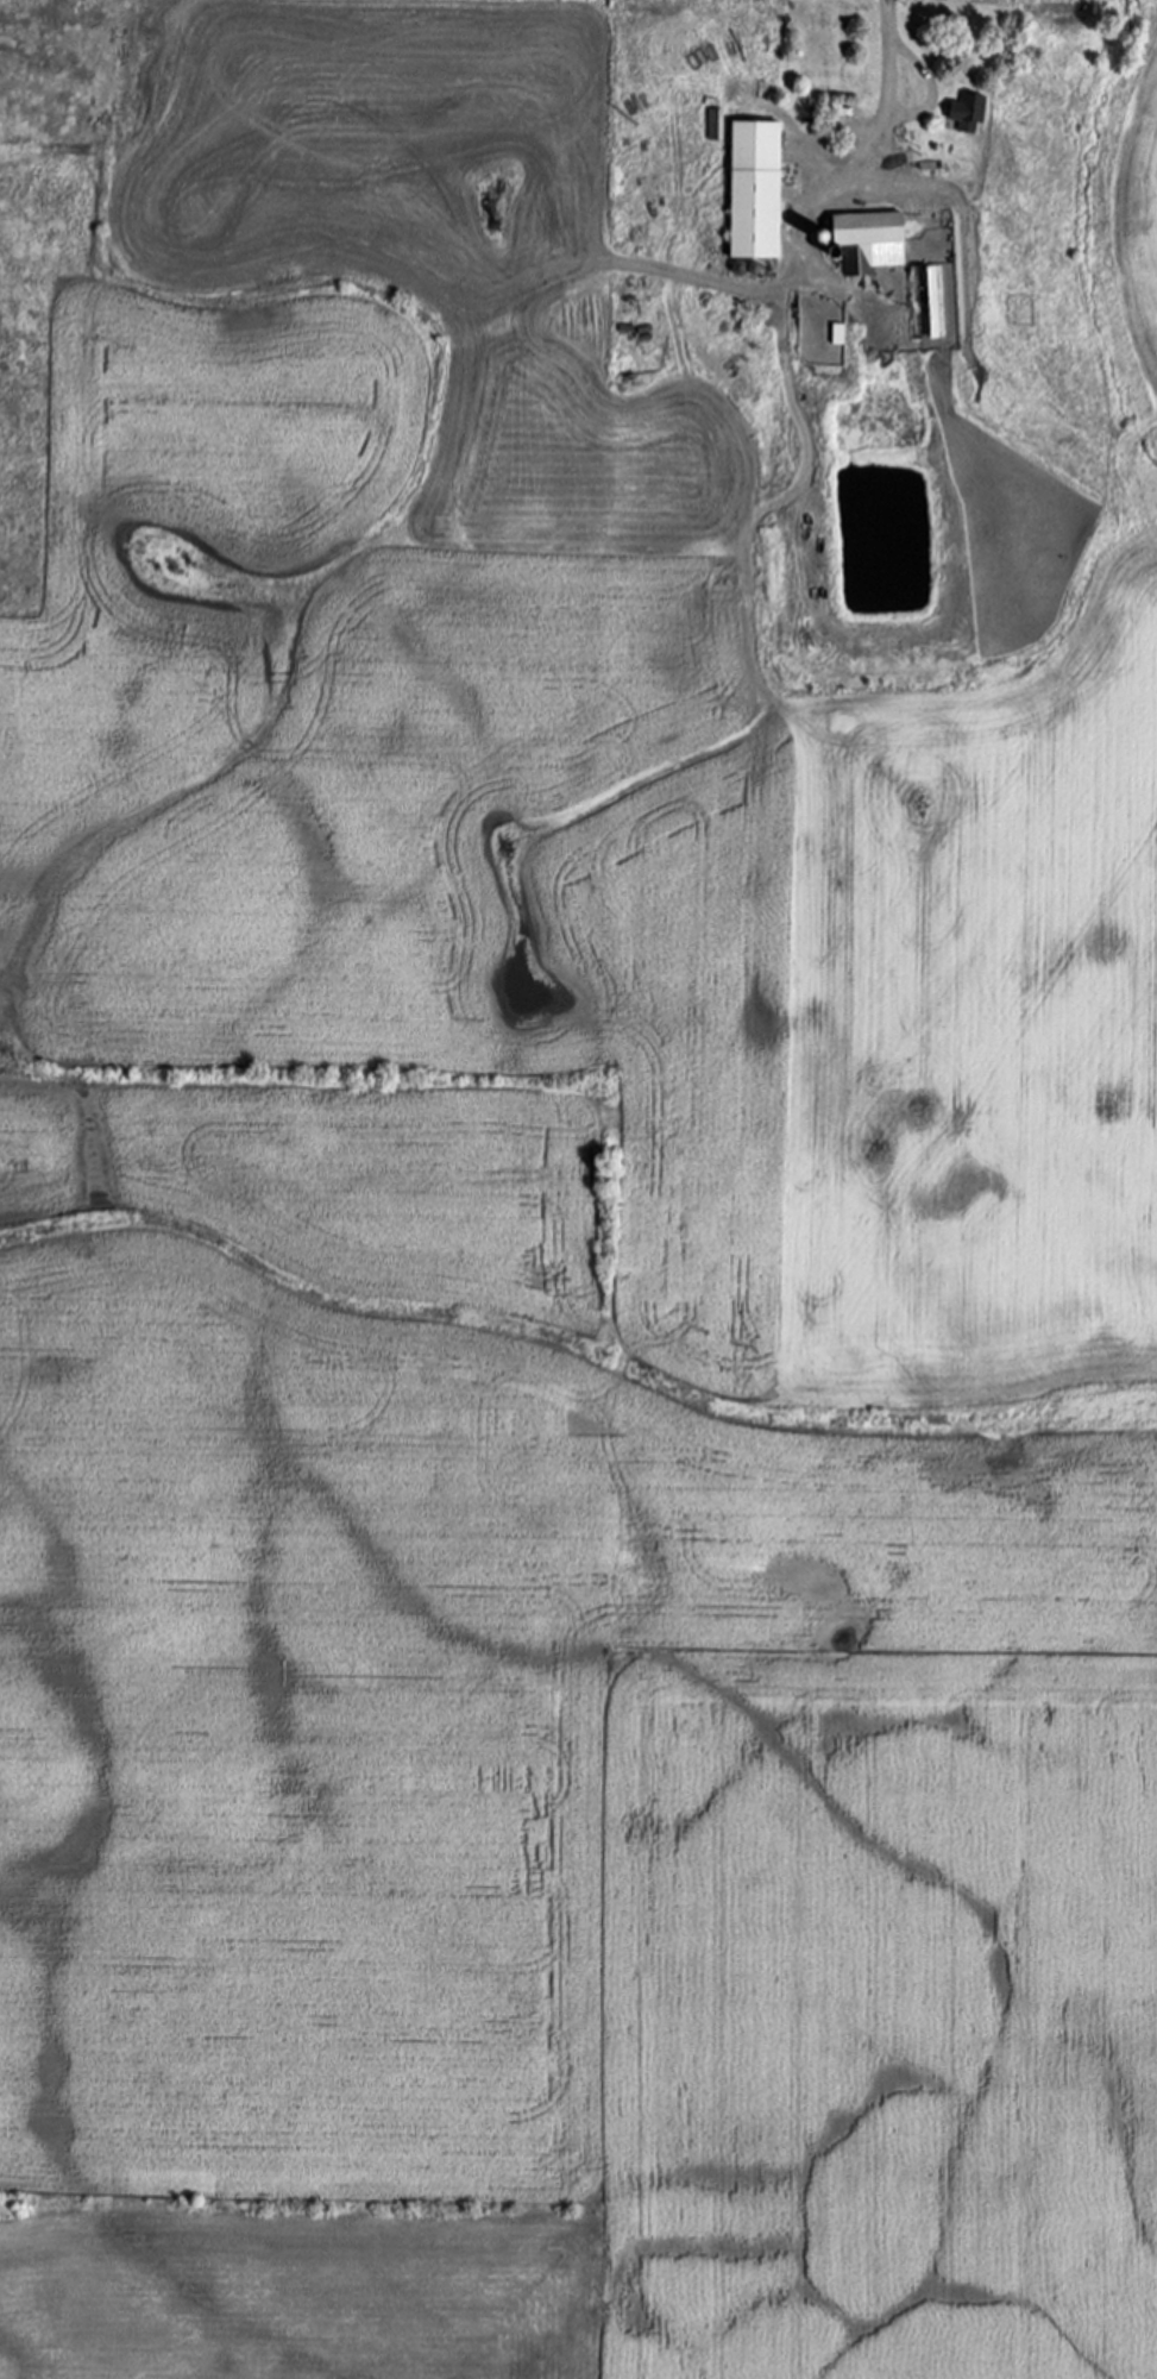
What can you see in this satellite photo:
road: (886, 83)
road: (929, 86)
building: (968, 115)
building: (757, 192)
building: (870, 240)
building: (924, 305)
building: (806, 627)

